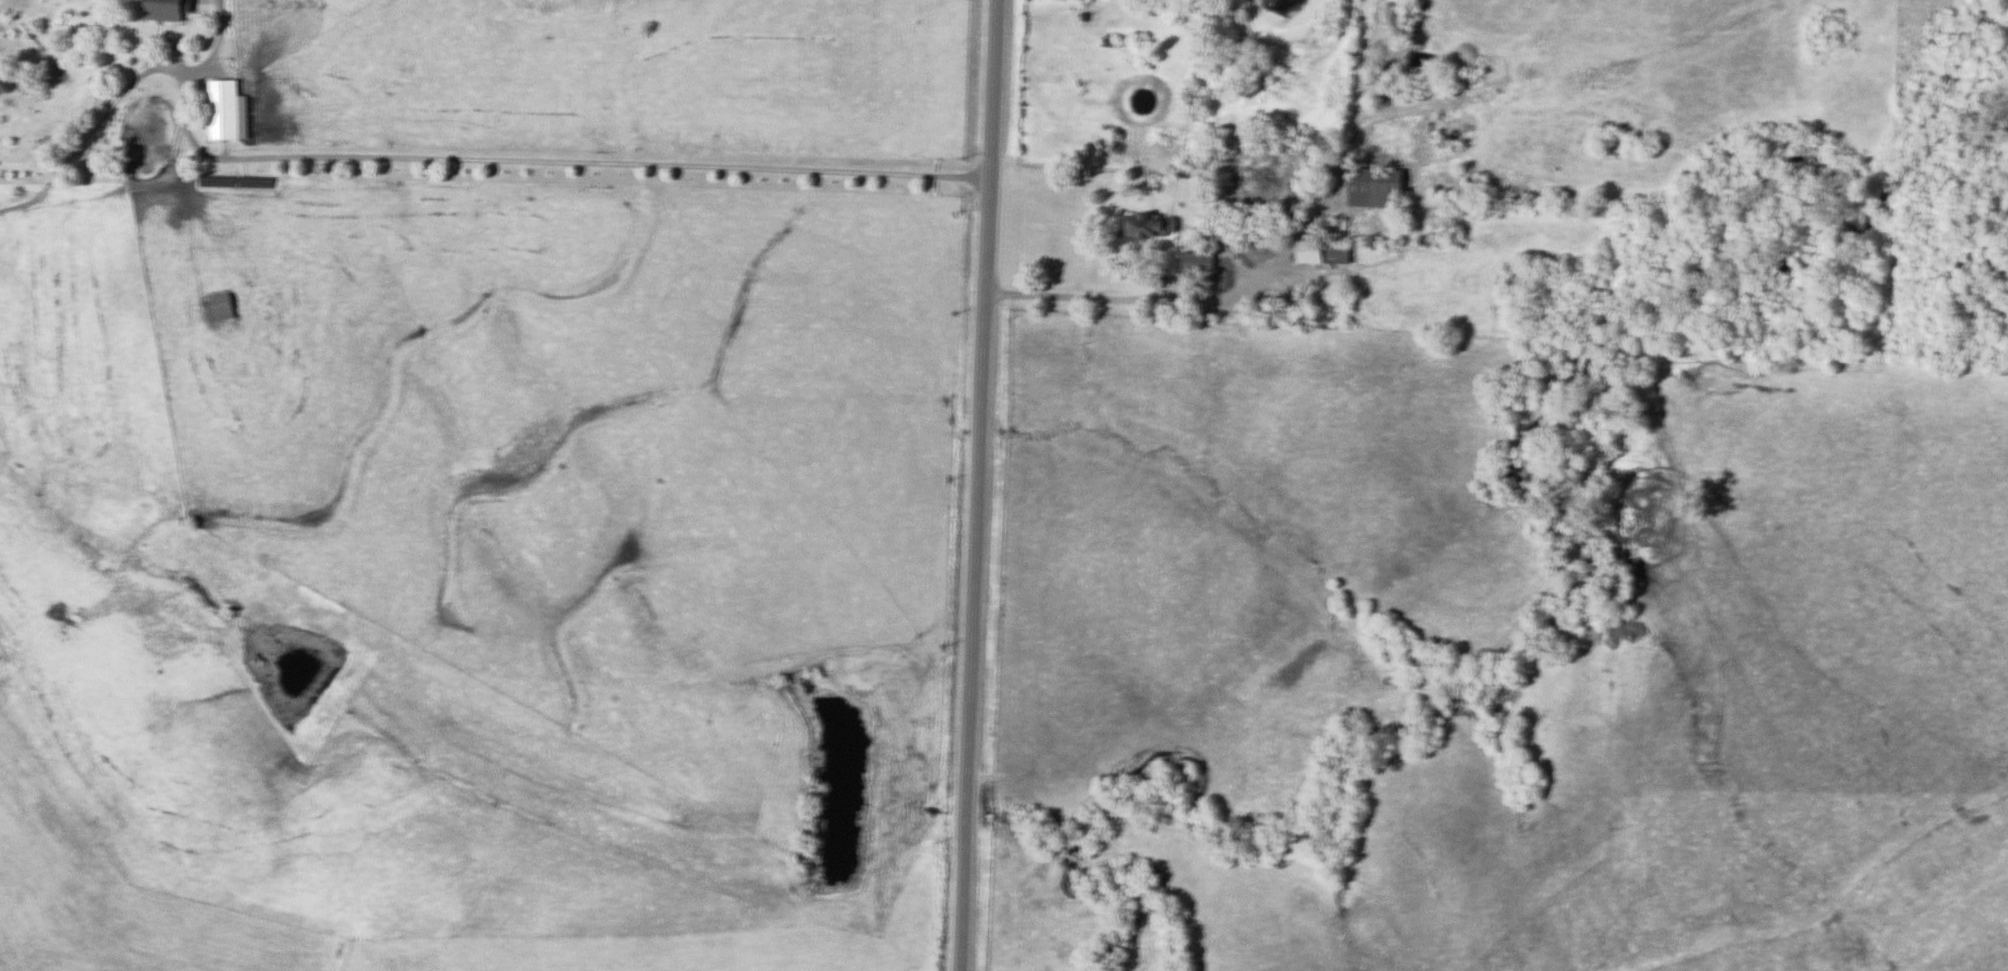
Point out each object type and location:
building: (168, 8)
road: (159, 44)
building: (1111, 44)
building: (228, 112)
road: (549, 167)
building: (1378, 190)
building: (1153, 229)
building: (1326, 255)
building: (1200, 264)
road: (1145, 302)
building: (222, 309)
road: (975, 485)

